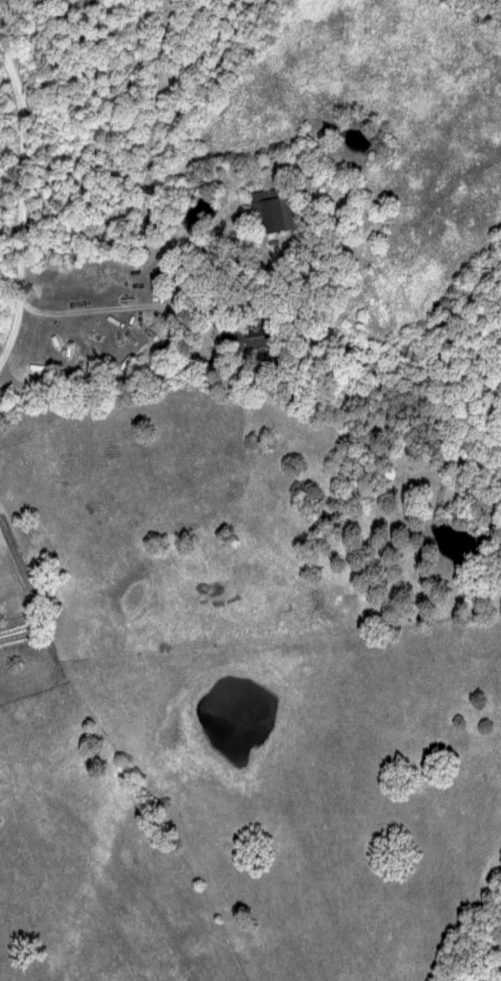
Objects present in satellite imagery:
road: (8, 201)
building: (283, 211)

